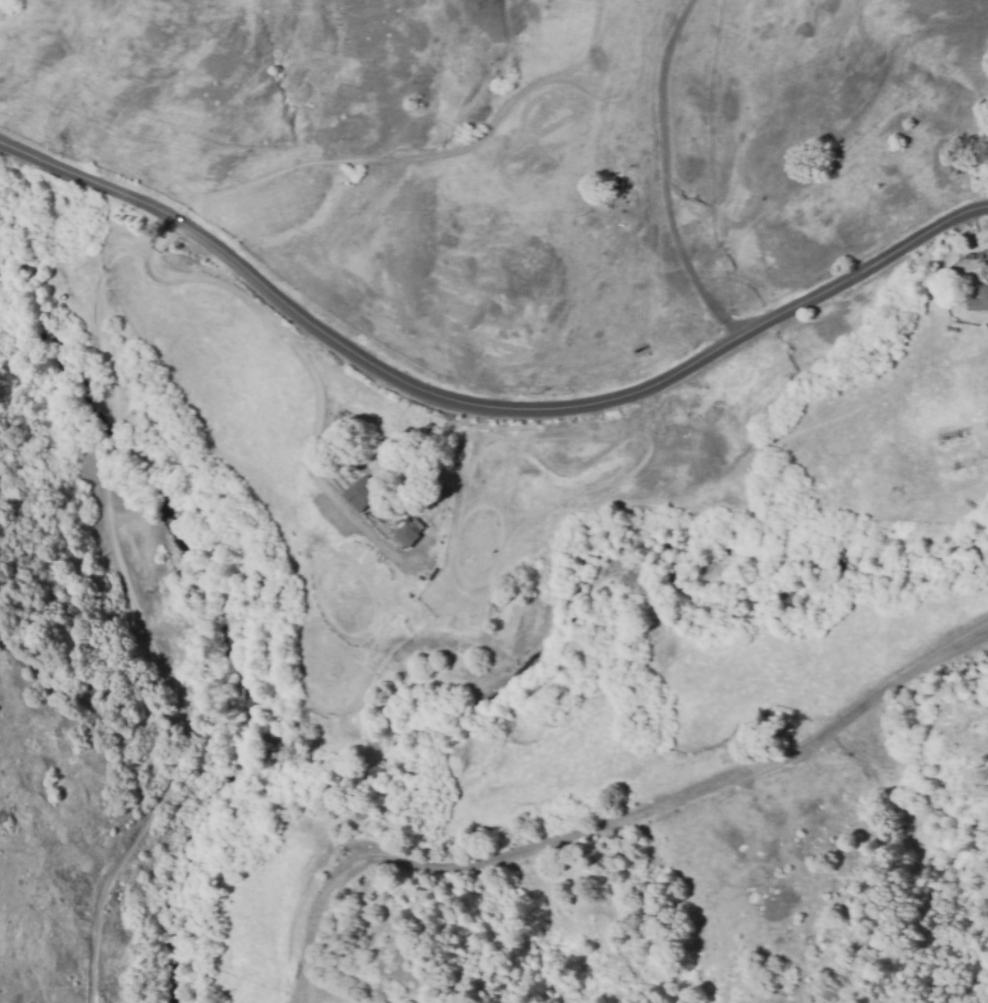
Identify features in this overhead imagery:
road: (681, 172)
building: (978, 301)
road: (281, 328)
road: (482, 407)
building: (360, 494)
road: (601, 822)

